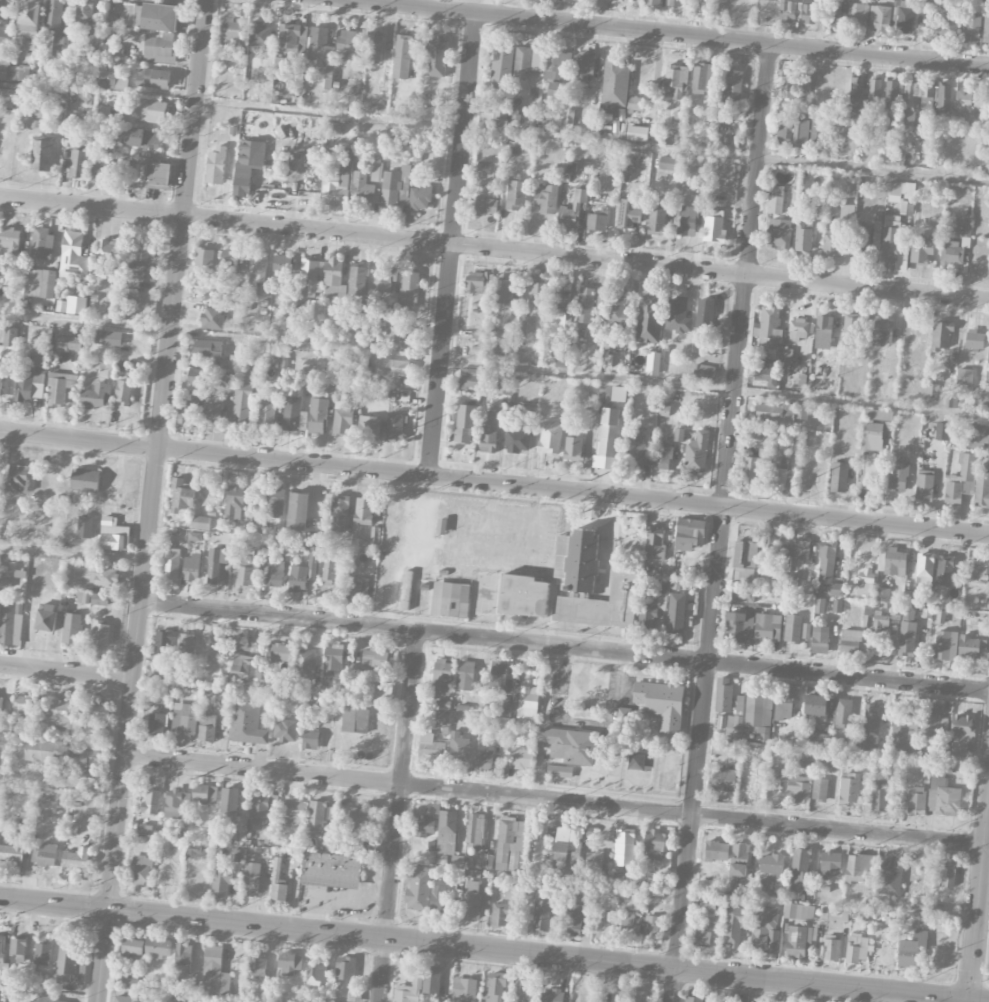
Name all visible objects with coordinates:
building: (772, 0)
building: (567, 1)
building: (653, 2)
building: (5, 10)
building: (787, 10)
building: (84, 12)
building: (832, 13)
building: (857, 13)
building: (905, 13)
building: (810, 14)
building: (155, 17)
building: (879, 18)
building: (948, 20)
building: (30, 23)
building: (972, 25)
building: (986, 26)
building: (57, 27)
building: (231, 32)
road: (672, 32)
building: (5, 37)
building: (292, 38)
building: (92, 39)
building: (348, 42)
building: (374, 46)
building: (318, 47)
building: (159, 48)
building: (240, 54)
building: (402, 57)
building: (436, 57)
building: (527, 62)
building: (584, 65)
building: (4, 66)
building: (556, 66)
building: (502, 67)
building: (25, 72)
building: (153, 78)
building: (702, 78)
building: (113, 80)
building: (675, 81)
building: (788, 82)
building: (804, 82)
building: (616, 83)
building: (733, 85)
building: (857, 86)
building: (875, 89)
building: (893, 91)
building: (7, 94)
building: (944, 97)
building: (966, 102)
building: (636, 104)
building: (150, 111)
building: (102, 113)
building: (918, 113)
building: (515, 115)
building: (495, 116)
building: (70, 126)
building: (792, 128)
building: (637, 133)
building: (818, 134)
building: (125, 137)
building: (144, 139)
road: (592, 139)
building: (846, 139)
building: (42, 155)
building: (669, 163)
building: (78, 164)
building: (215, 165)
building: (246, 165)
building: (104, 172)
building: (157, 173)
building: (485, 174)
building: (337, 180)
building: (362, 188)
building: (393, 188)
building: (902, 189)
building: (516, 195)
building: (420, 198)
building: (547, 200)
building: (775, 200)
building: (485, 206)
building: (906, 208)
building: (572, 210)
building: (628, 214)
building: (878, 220)
building: (656, 221)
building: (688, 221)
building: (596, 222)
building: (714, 227)
building: (779, 234)
building: (803, 237)
building: (832, 240)
building: (9, 242)
building: (42, 243)
road: (451, 244)
building: (895, 244)
road: (494, 248)
building: (108, 250)
building: (921, 251)
building: (952, 252)
building: (74, 257)
building: (143, 257)
building: (231, 259)
building: (204, 262)
building: (284, 264)
building: (257, 271)
building: (138, 276)
building: (309, 276)
building: (384, 278)
building: (334, 280)
building: (357, 281)
building: (40, 283)
building: (475, 283)
building: (409, 290)
building: (538, 294)
building: (138, 296)
building: (503, 297)
building: (77, 305)
building: (585, 306)
building: (619, 309)
building: (314, 310)
building: (558, 310)
building: (705, 313)
building: (363, 314)
building: (678, 315)
building: (212, 318)
building: (649, 319)
road: (85, 322)
building: (768, 329)
building: (798, 330)
building: (852, 330)
building: (883, 332)
building: (823, 333)
building: (941, 335)
building: (11, 337)
building: (108, 338)
building: (404, 339)
building: (974, 339)
building: (68, 340)
building: (616, 343)
building: (209, 351)
building: (988, 352)
building: (392, 368)
building: (705, 371)
building: (281, 372)
building: (766, 373)
building: (124, 374)
road: (579, 374)
building: (197, 376)
building: (964, 376)
building: (230, 378)
building: (470, 378)
building: (30, 380)
building: (1, 383)
building: (243, 386)
building: (502, 386)
building: (60, 387)
building: (124, 393)
building: (983, 393)
building: (95, 396)
building: (241, 407)
building: (188, 410)
building: (802, 412)
building: (775, 413)
building: (215, 414)
building: (267, 414)
building: (294, 415)
building: (317, 416)
building: (342, 421)
building: (464, 424)
building: (396, 427)
building: (874, 428)
building: (369, 429)
building: (942, 431)
power tower: (146, 432)
building: (489, 432)
building: (608, 432)
building: (769, 432)
building: (978, 433)
building: (550, 437)
building: (517, 442)
building: (573, 448)
building: (636, 451)
power tower: (355, 454)
building: (696, 454)
building: (662, 455)
building: (755, 466)
building: (781, 471)
building: (898, 475)
building: (839, 477)
building: (17, 478)
power tower: (590, 479)
building: (961, 479)
building: (85, 480)
road: (494, 483)
building: (925, 485)
building: (982, 491)
building: (183, 494)
power tower: (767, 498)
road: (151, 500)
building: (234, 502)
building: (275, 502)
building: (298, 511)
building: (363, 511)
building: (339, 513)
building: (391, 520)
road: (721, 522)
building: (200, 523)
building: (274, 524)
building: (85, 527)
building: (690, 534)
building: (113, 535)
building: (195, 536)
building: (374, 541)
building: (655, 543)
building: (769, 548)
building: (801, 550)
road: (72, 554)
building: (785, 556)
building: (827, 557)
building: (577, 560)
building: (895, 561)
building: (745, 562)
building: (172, 563)
building: (215, 563)
building: (981, 566)
building: (191, 567)
building: (925, 568)
building: (244, 572)
building: (947, 572)
building: (275, 573)
building: (328, 573)
building: (19, 574)
building: (303, 574)
building: (102, 577)
building: (793, 581)
building: (864, 582)
building: (663, 585)
building: (807, 587)
building: (356, 588)
building: (406, 590)
building: (834, 590)
building: (882, 594)
building: (524, 596)
building: (743, 596)
building: (83, 597)
building: (912, 597)
building: (99, 600)
building: (450, 600)
building: (612, 602)
building: (820, 605)
building: (676, 613)
building: (895, 614)
building: (646, 619)
building: (880, 621)
building: (46, 622)
building: (10, 624)
building: (739, 627)
building: (768, 627)
building: (792, 628)
building: (71, 629)
building: (806, 631)
building: (907, 631)
building: (100, 634)
building: (820, 638)
building: (850, 641)
building: (165, 642)
building: (187, 644)
building: (945, 645)
road: (564, 646)
building: (969, 646)
building: (281, 653)
building: (375, 658)
building: (333, 659)
building: (305, 665)
building: (247, 669)
road: (66, 671)
building: (465, 675)
building: (498, 676)
building: (441, 677)
building: (381, 693)
building: (723, 695)
building: (526, 701)
building: (661, 703)
building: (23, 704)
building: (442, 704)
building: (785, 704)
building: (502, 705)
building: (739, 706)
building: (816, 706)
building: (1, 708)
building: (96, 711)
building: (843, 711)
building: (759, 713)
building: (61, 715)
building: (624, 715)
building: (185, 718)
building: (435, 718)
building: (355, 719)
building: (156, 723)
building: (246, 723)
building: (933, 723)
building: (207, 728)
building: (871, 729)
building: (285, 730)
building: (904, 734)
building: (961, 735)
building: (310, 740)
building: (818, 740)
building: (570, 745)
building: (459, 747)
building: (48, 750)
building: (432, 752)
building: (91, 758)
building: (805, 758)
building: (521, 759)
building: (484, 761)
building: (834, 761)
building: (559, 771)
building: (774, 773)
building: (88, 774)
building: (725, 780)
road: (60, 781)
building: (799, 787)
building: (819, 789)
building: (850, 790)
building: (943, 791)
building: (205, 793)
building: (880, 795)
road: (553, 799)
building: (917, 801)
building: (151, 802)
building: (177, 804)
building: (229, 805)
building: (273, 806)
building: (259, 809)
building: (294, 813)
road: (397, 816)
building: (317, 817)
building: (361, 822)
building: (425, 826)
building: (72, 828)
building: (145, 829)
building: (475, 833)
building: (447, 839)
building: (566, 844)
building: (511, 845)
building: (656, 845)
building: (625, 847)
building: (194, 851)
building: (717, 851)
building: (740, 851)
building: (13, 852)
building: (45, 854)
building: (75, 858)
building: (486, 860)
building: (571, 860)
building: (830, 864)
building: (594, 865)
building: (772, 865)
building: (800, 865)
building: (859, 867)
building: (141, 870)
building: (331, 870)
building: (738, 870)
building: (947, 874)
building: (251, 879)
building: (222, 882)
road: (985, 882)
building: (278, 883)
building: (418, 888)
building: (438, 900)
building: (471, 900)
road: (978, 902)
building: (707, 905)
building: (937, 909)
building: (798, 912)
building: (502, 914)
building: (541, 916)
building: (574, 919)
building: (628, 920)
building: (735, 925)
building: (651, 926)
building: (765, 930)
building: (703, 937)
building: (801, 942)
building: (132, 947)
road: (494, 947)
building: (857, 948)
building: (912, 948)
building: (18, 949)
building: (157, 949)
building: (831, 950)
building: (42, 954)
building: (183, 956)
building: (3, 960)
building: (66, 962)
building: (290, 963)
building: (257, 966)
building: (345, 968)
building: (215, 974)
building: (315, 974)
building: (431, 981)
building: (133, 982)
building: (495, 987)
building: (409, 989)
building: (464, 990)
building: (525, 991)
building: (636, 994)
building: (551, 995)
traffic signals: (969, 998)
building: (693, 999)
building: (49, 1000)
road: (968, 1000)
building: (230, 1001)

